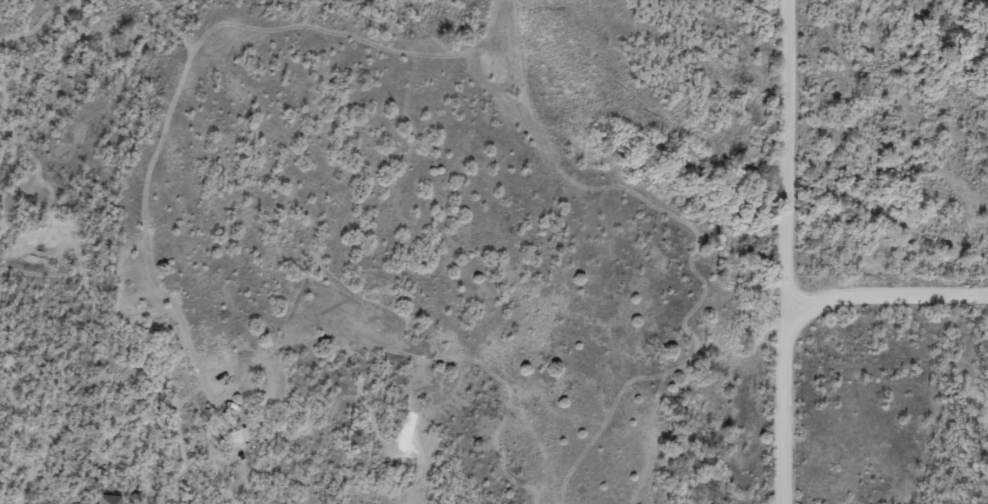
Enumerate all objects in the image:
road: (788, 130)
road: (788, 282)
road: (887, 290)
road: (794, 404)
building: (103, 499)

